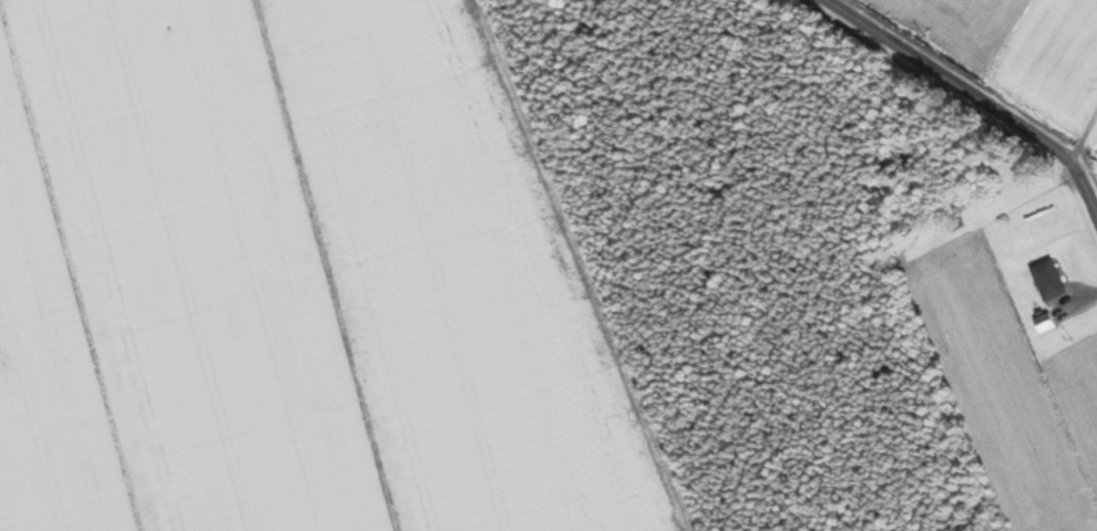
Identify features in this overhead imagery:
road: (978, 97)
road: (1091, 128)
road: (1084, 144)
road: (1076, 156)
building: (1050, 280)
building: (1046, 323)

